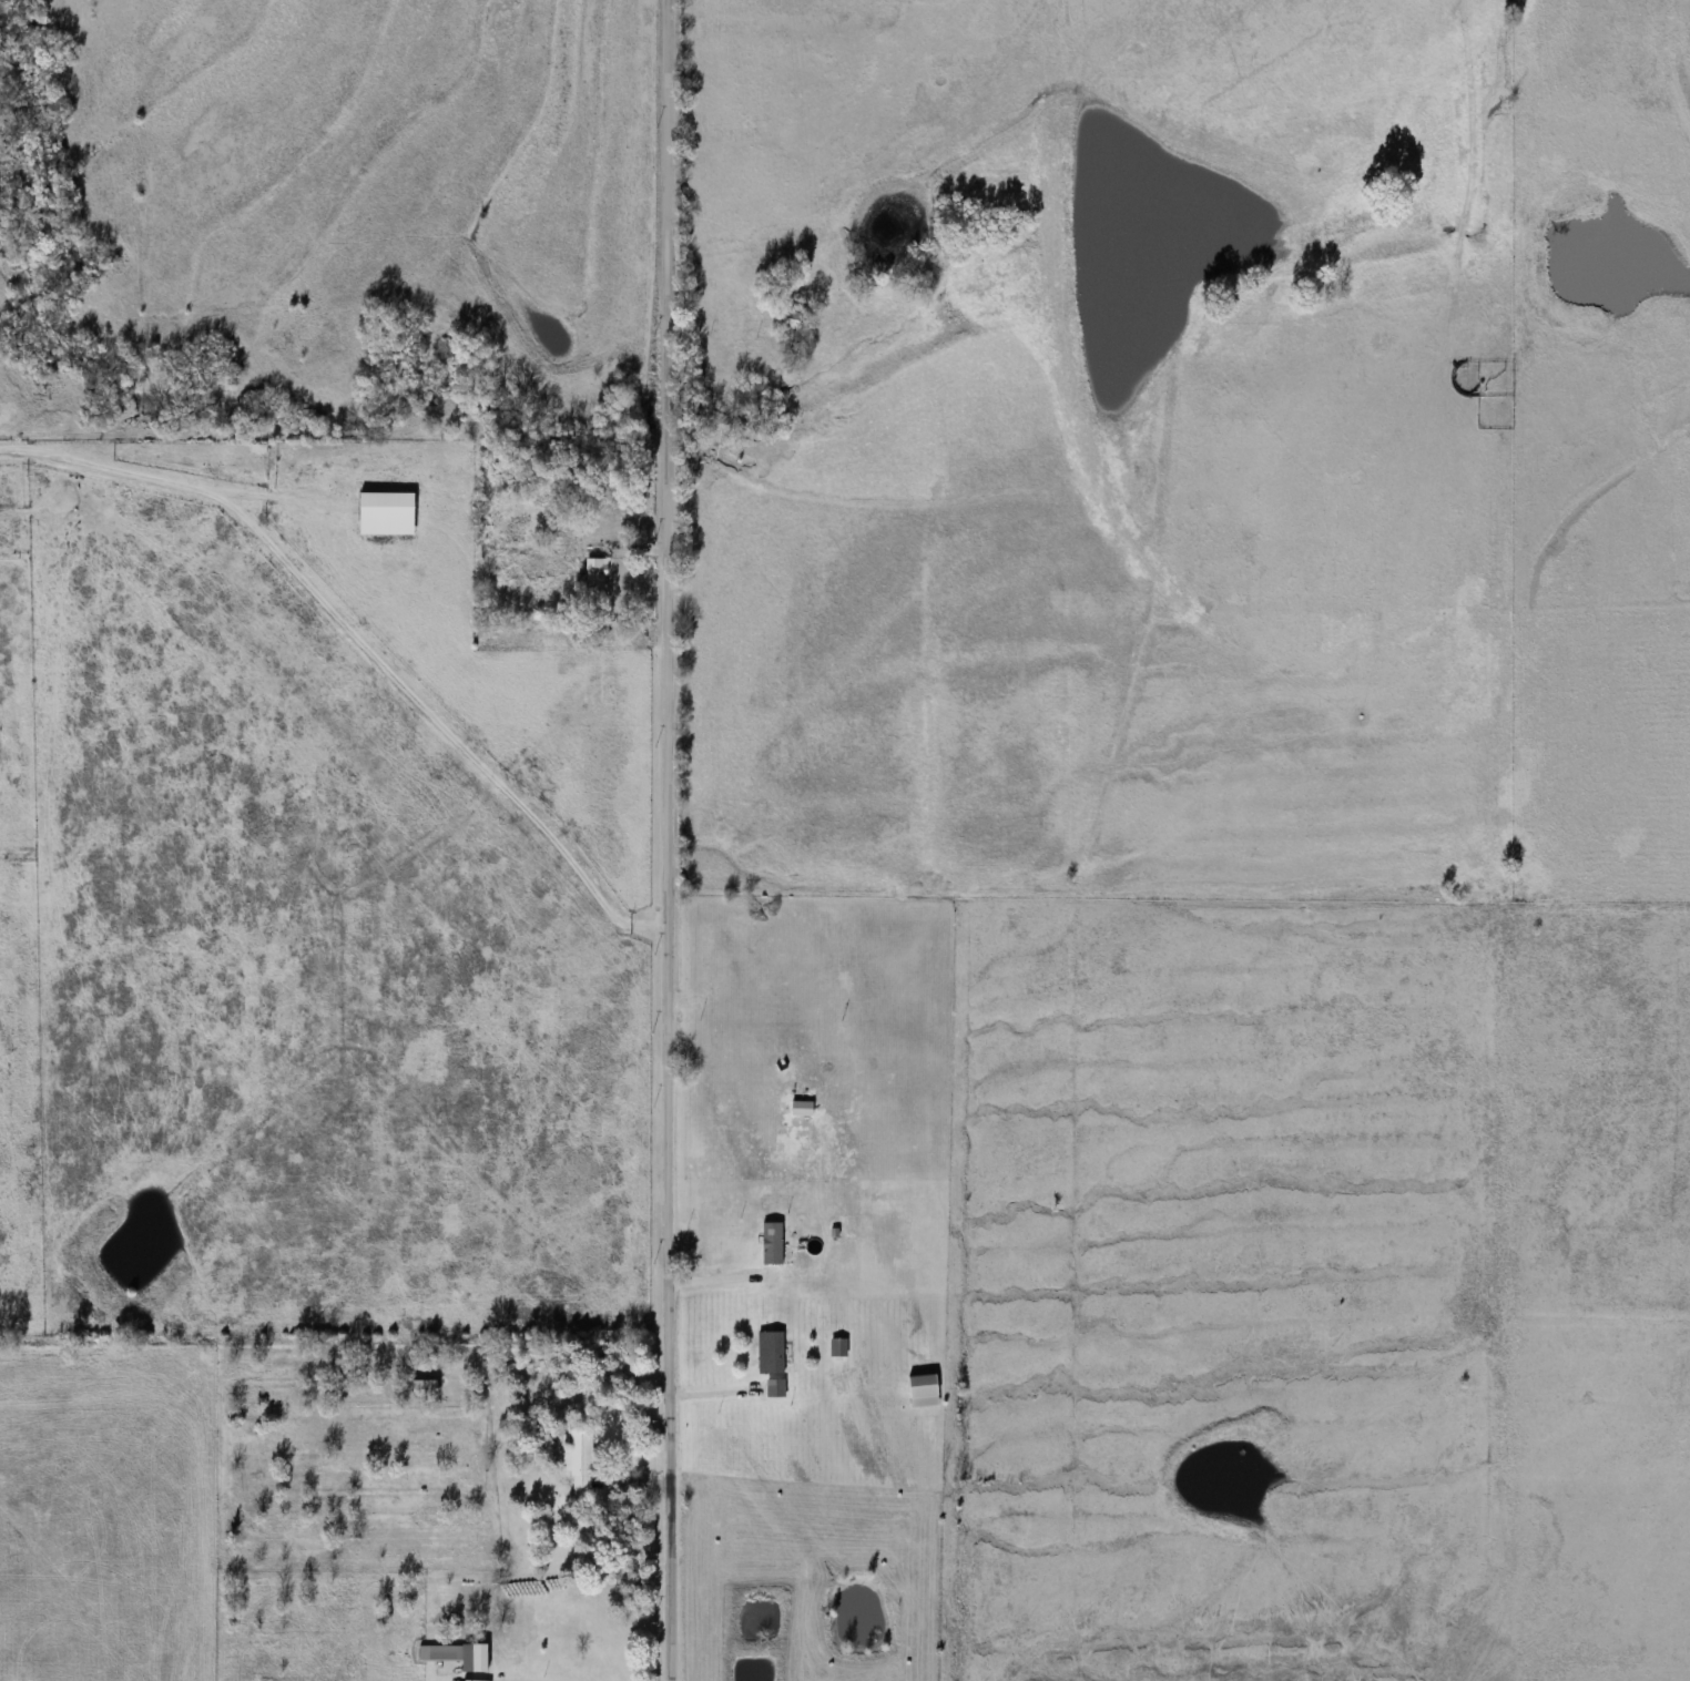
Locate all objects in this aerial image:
building: (792, 319)
building: (387, 513)
building: (595, 572)
road: (363, 641)
road: (668, 840)
building: (772, 1244)
building: (838, 1347)
building: (771, 1353)
building: (924, 1390)
building: (580, 1459)
building: (440, 1653)
building: (480, 1659)

